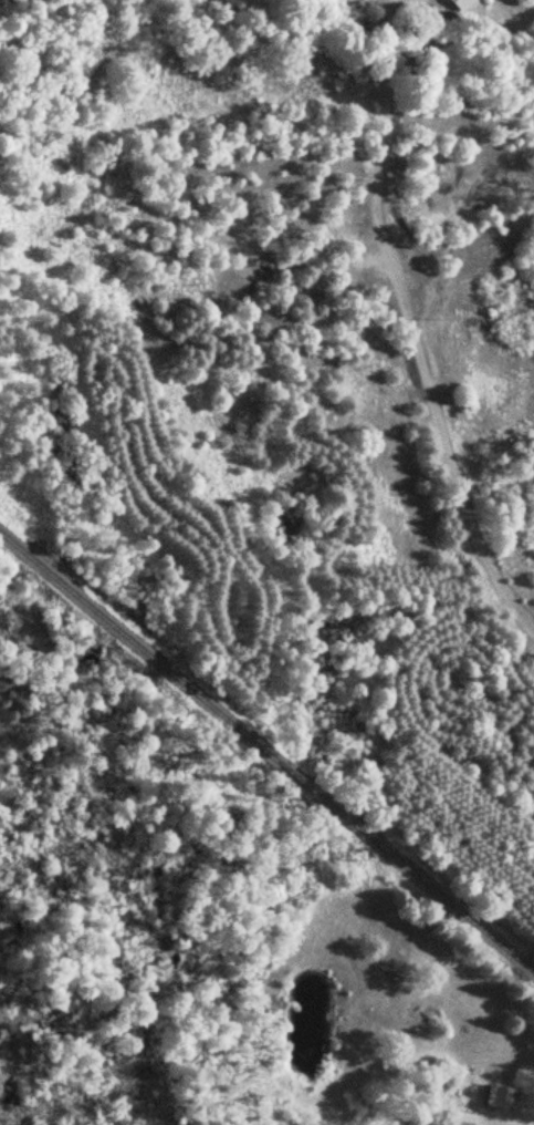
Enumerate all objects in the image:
building: (457, 2)
building: (452, 17)
road: (410, 321)
railway: (266, 750)
building: (500, 1097)
building: (462, 1118)

